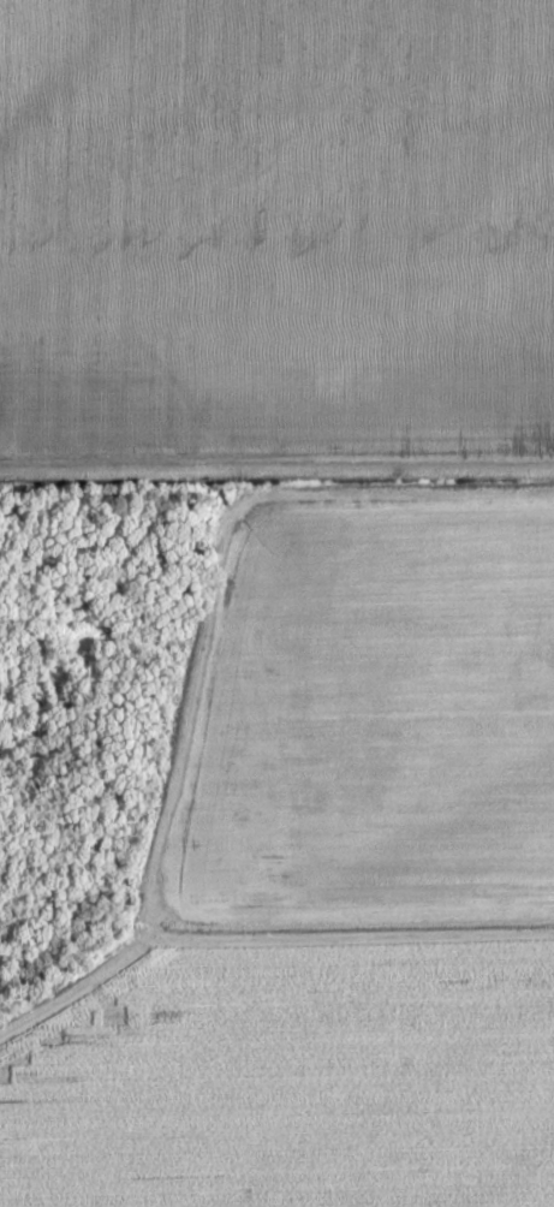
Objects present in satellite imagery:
road: (494, 1175)

